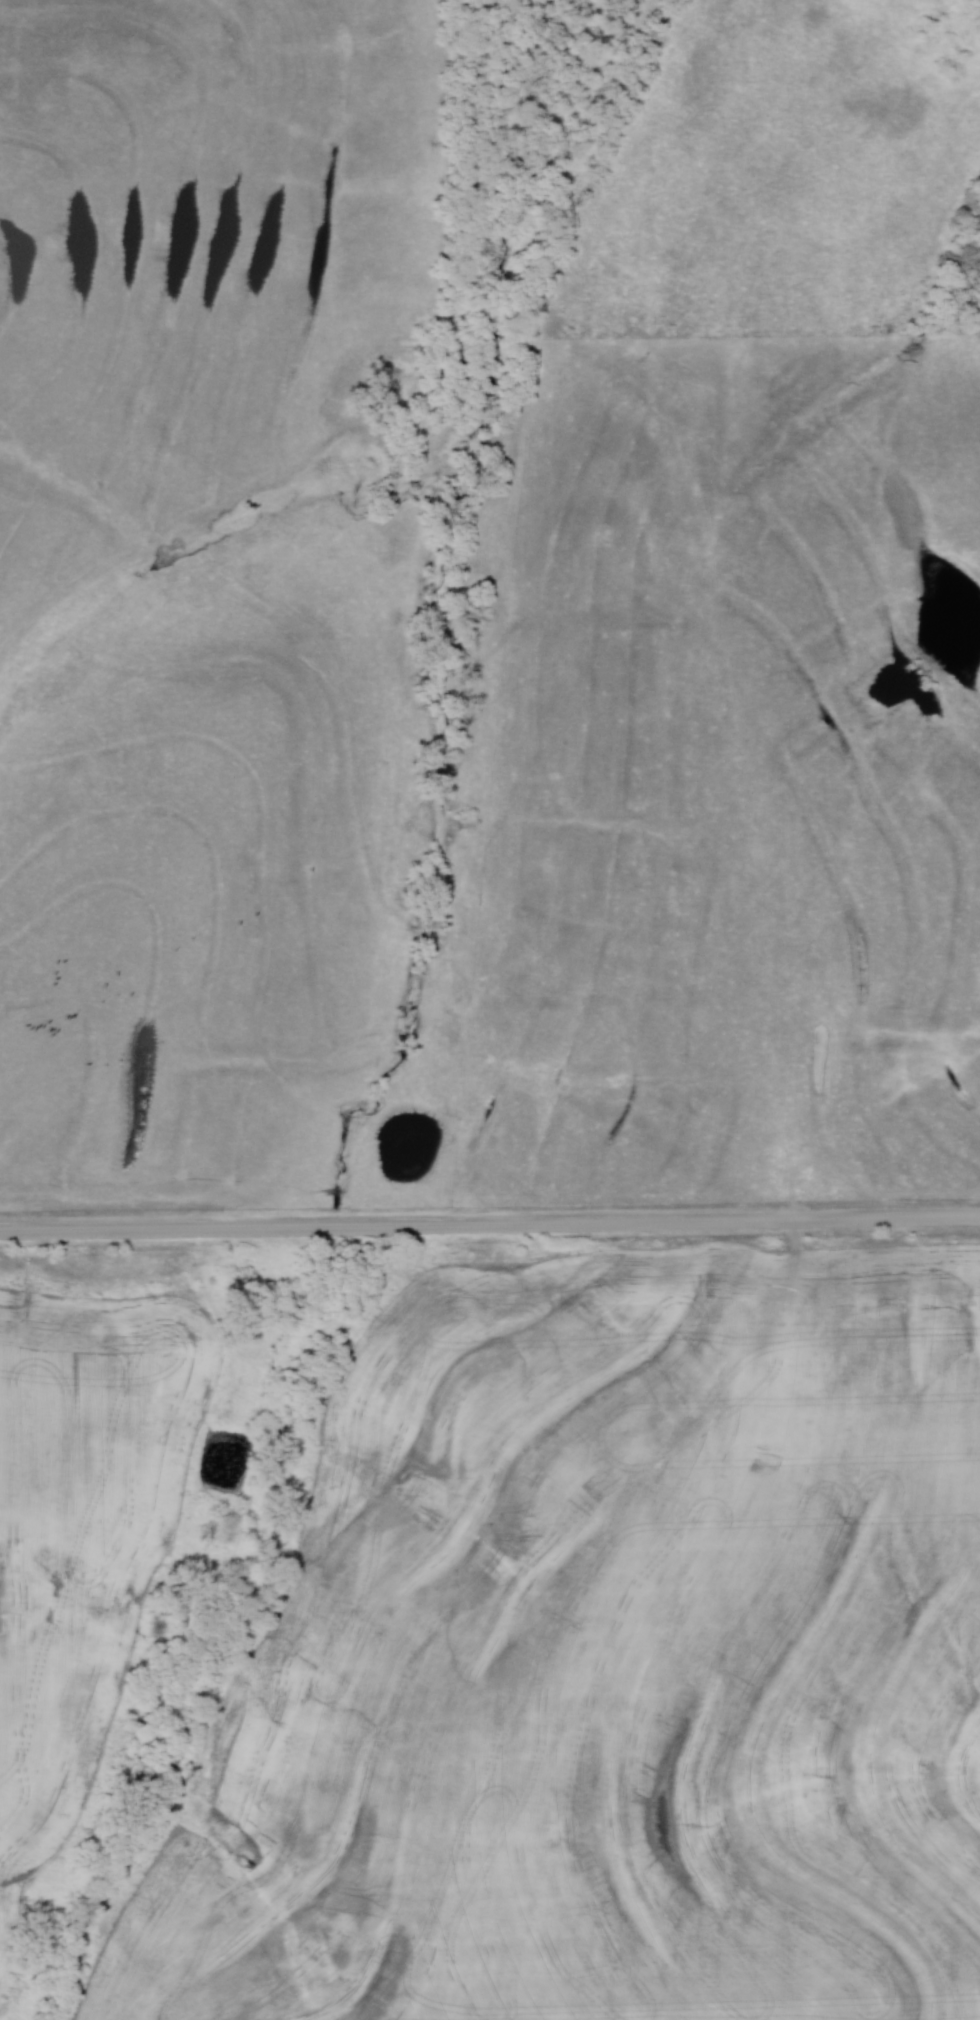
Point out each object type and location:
road: (490, 1230)

